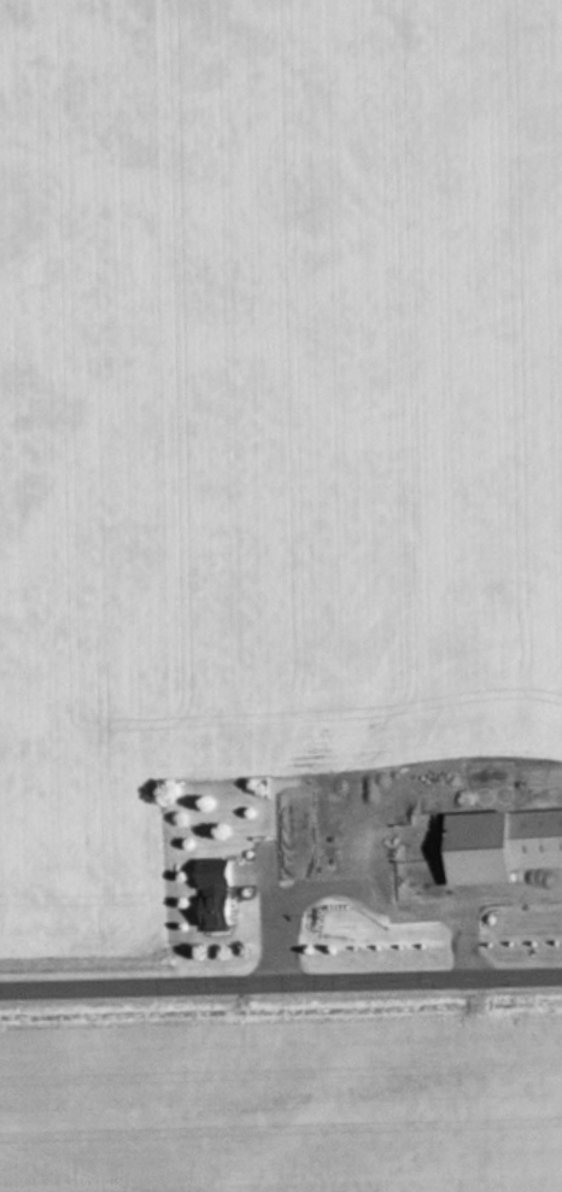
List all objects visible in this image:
building: (298, 834)
building: (473, 848)
building: (221, 893)
road: (281, 981)

